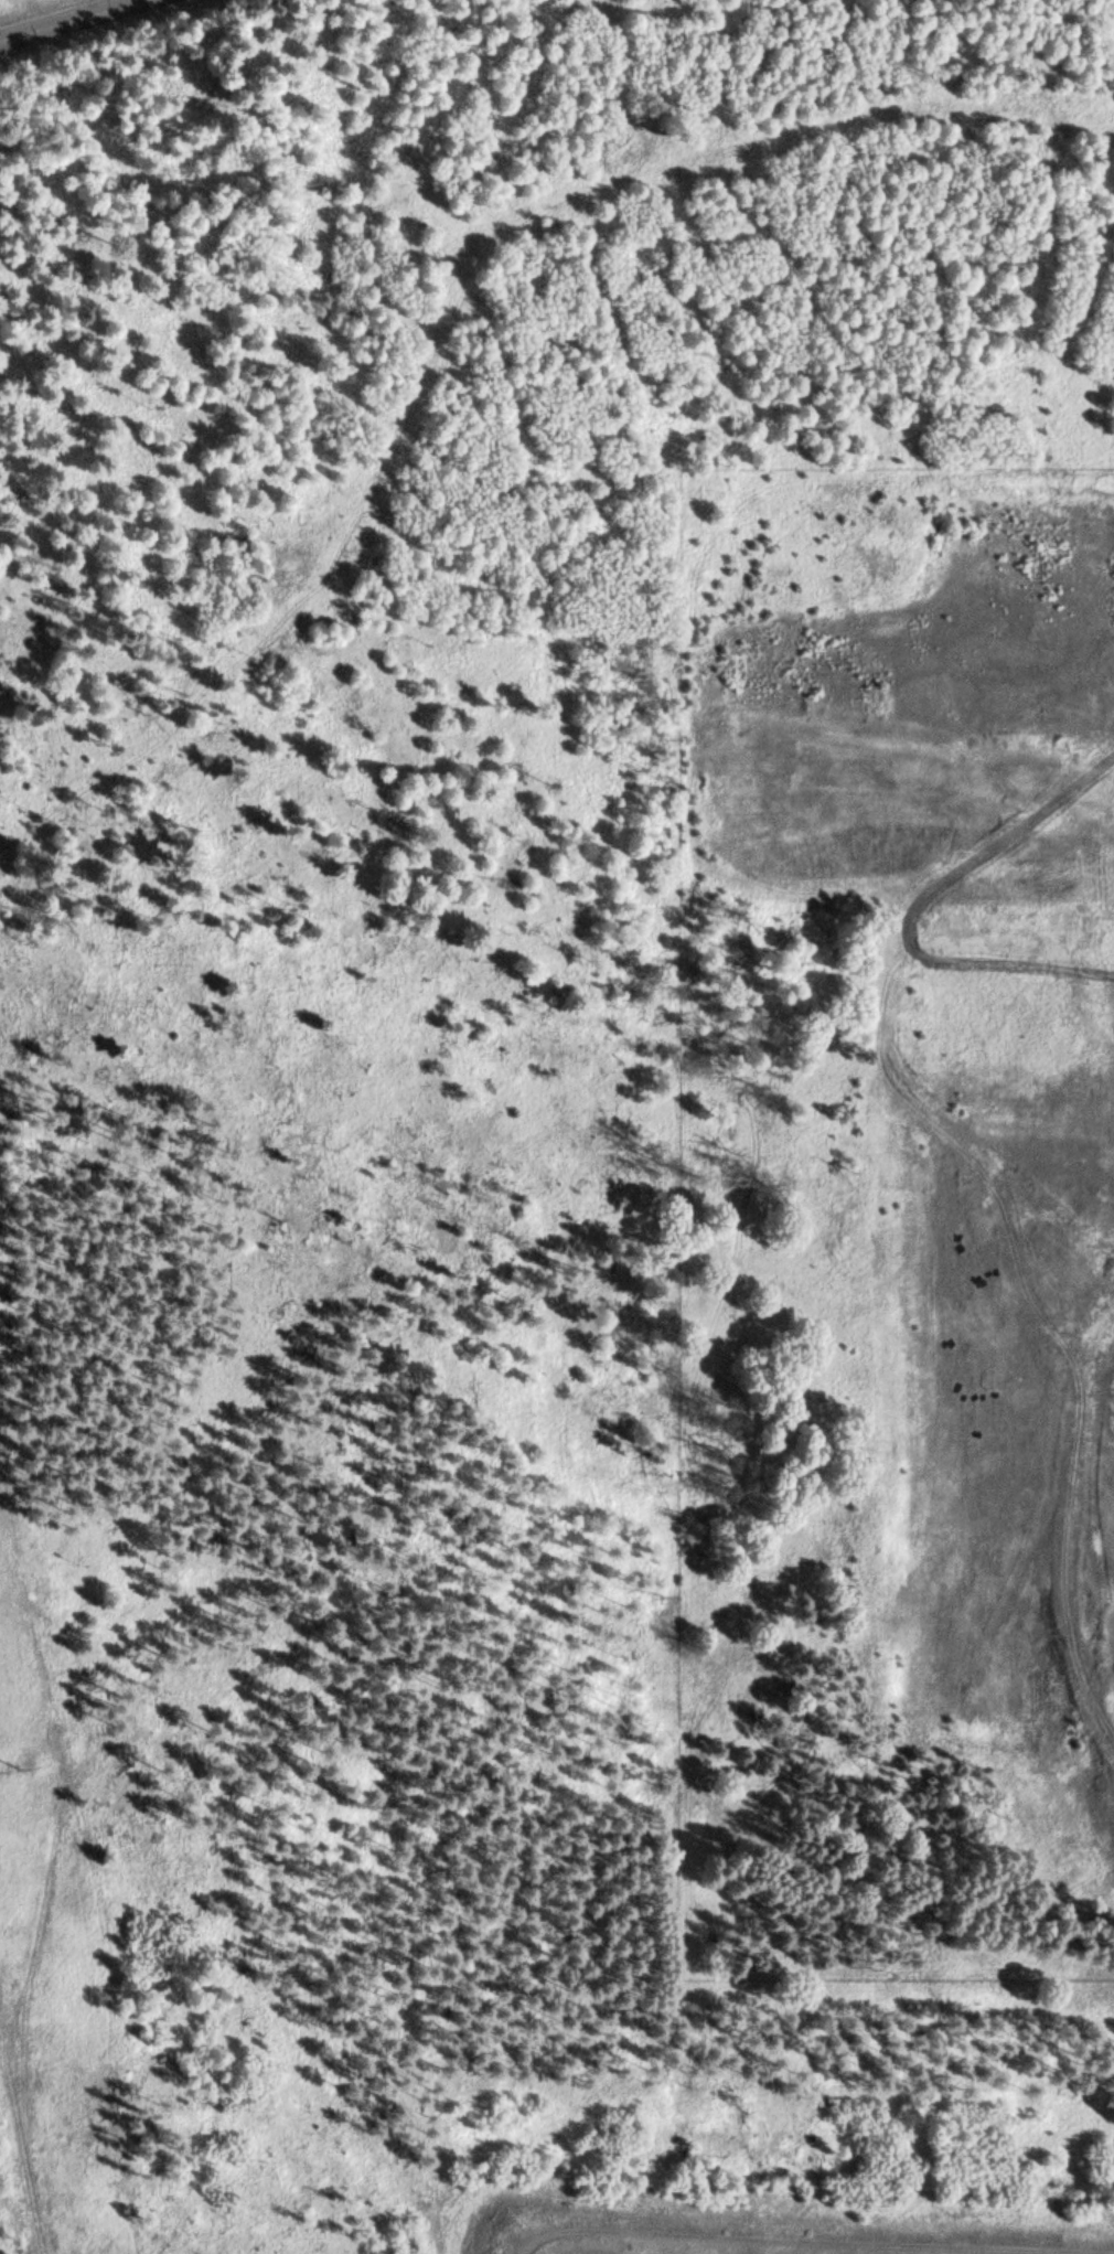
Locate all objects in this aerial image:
road: (67, 21)
power tower: (10, 1771)

